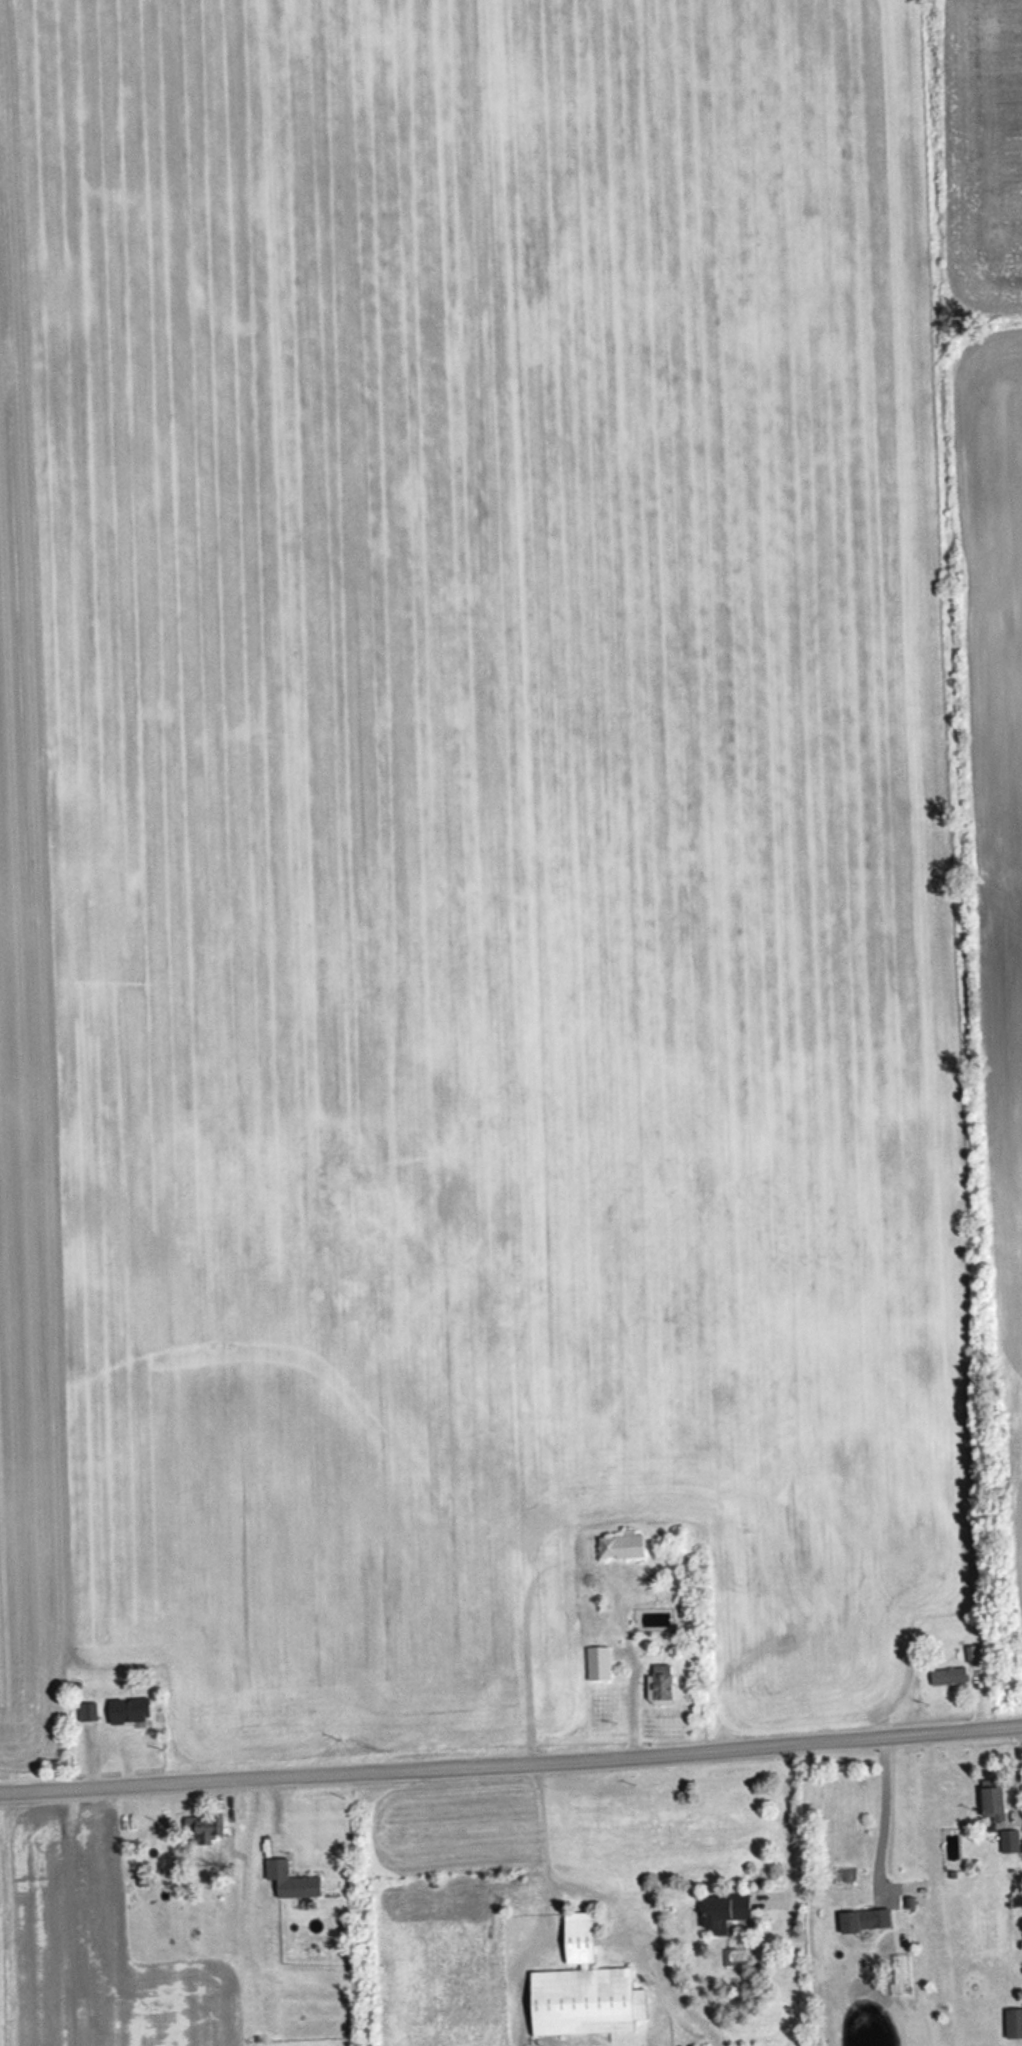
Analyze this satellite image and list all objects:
building: (622, 1544)
building: (572, 1604)
road: (519, 1645)
building: (600, 1661)
building: (952, 1674)
building: (661, 1683)
road: (626, 1699)
building: (132, 1710)
building: (89, 1711)
road: (511, 1764)
building: (995, 1803)
road: (879, 1812)
road: (779, 1820)
building: (208, 1827)
road: (533, 1833)
building: (1010, 1840)
building: (112, 1854)
building: (292, 1879)
building: (726, 1910)
building: (866, 1918)
building: (585, 1988)
building: (1014, 2023)

